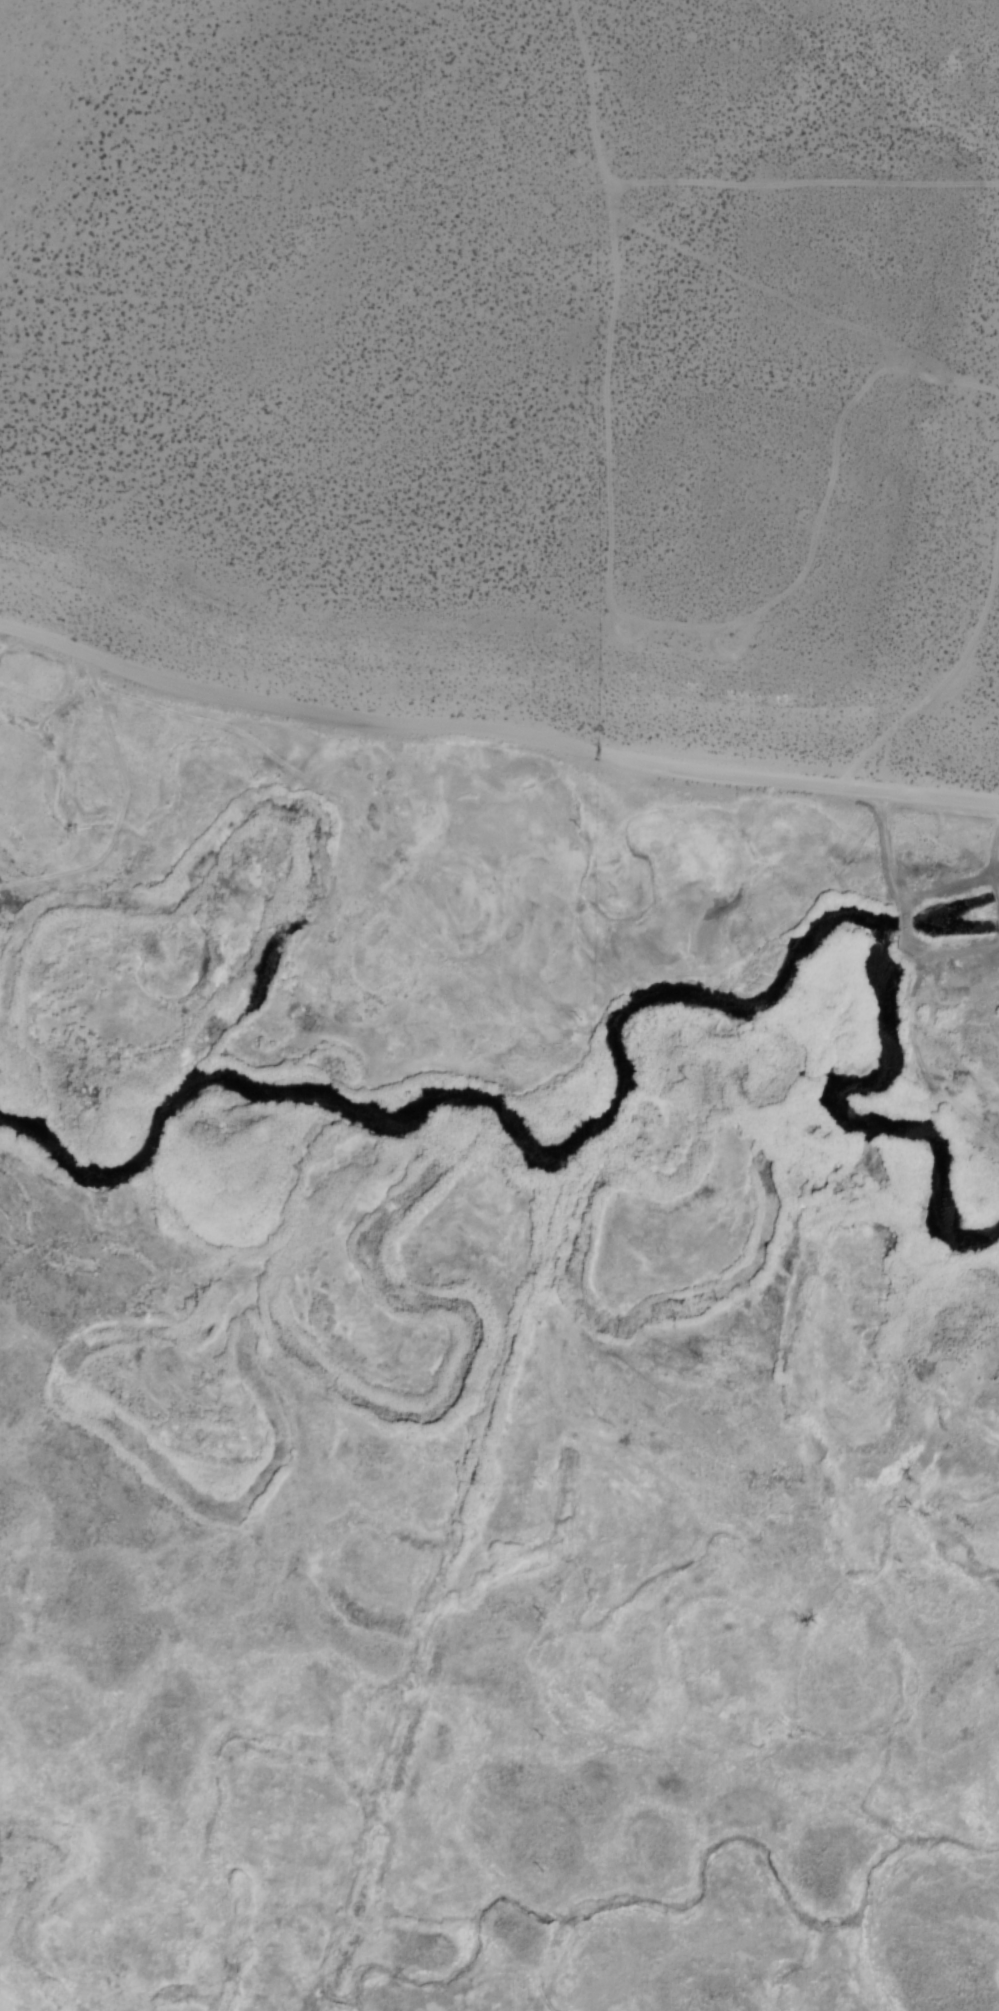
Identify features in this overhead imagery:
road: (800, 184)
road: (803, 308)
road: (606, 568)
road: (935, 698)
road: (495, 724)
river: (327, 850)
road: (881, 851)
road: (946, 878)
road: (900, 925)
road: (946, 951)
river: (690, 1016)
river: (872, 1109)
river: (534, 1141)

